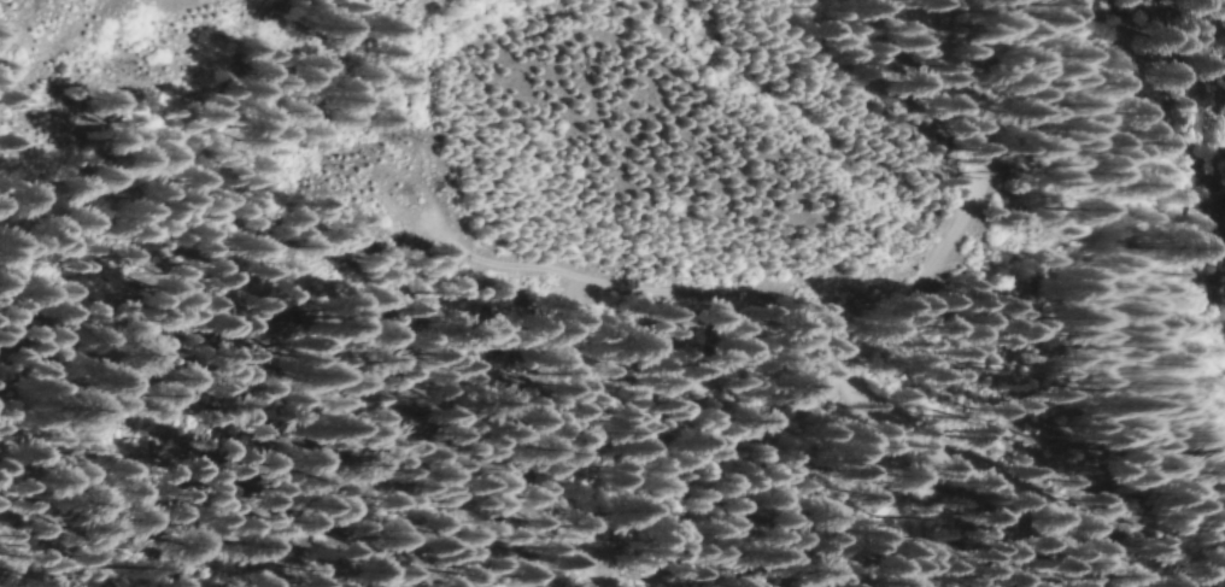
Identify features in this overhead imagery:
road: (896, 313)

